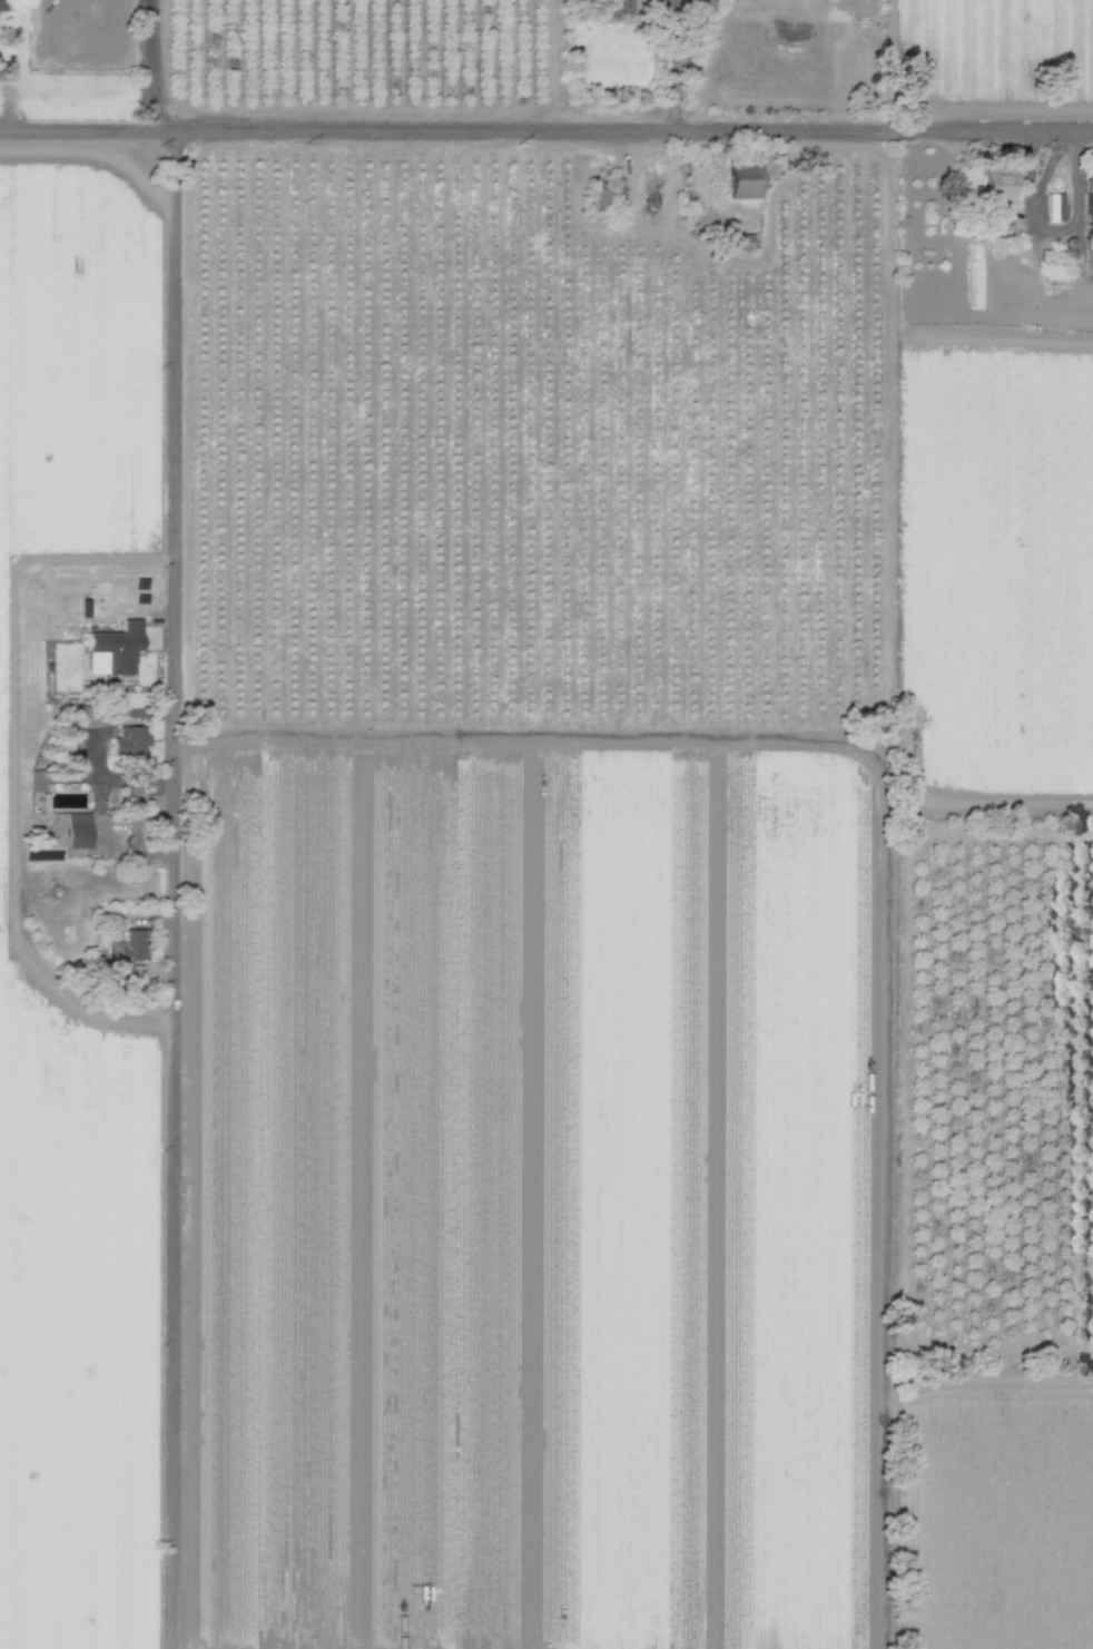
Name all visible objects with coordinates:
building: (2, 6)
building: (616, 7)
road: (676, 21)
road: (700, 24)
road: (677, 87)
road: (6, 97)
road: (546, 130)
road: (1022, 171)
building: (747, 183)
building: (1001, 187)
building: (603, 194)
building: (1056, 208)
building: (1090, 215)
building: (1015, 224)
road: (1051, 241)
building: (118, 648)
building: (131, 743)
road: (97, 748)
building: (46, 803)
building: (134, 817)
road: (175, 822)
building: (79, 831)

